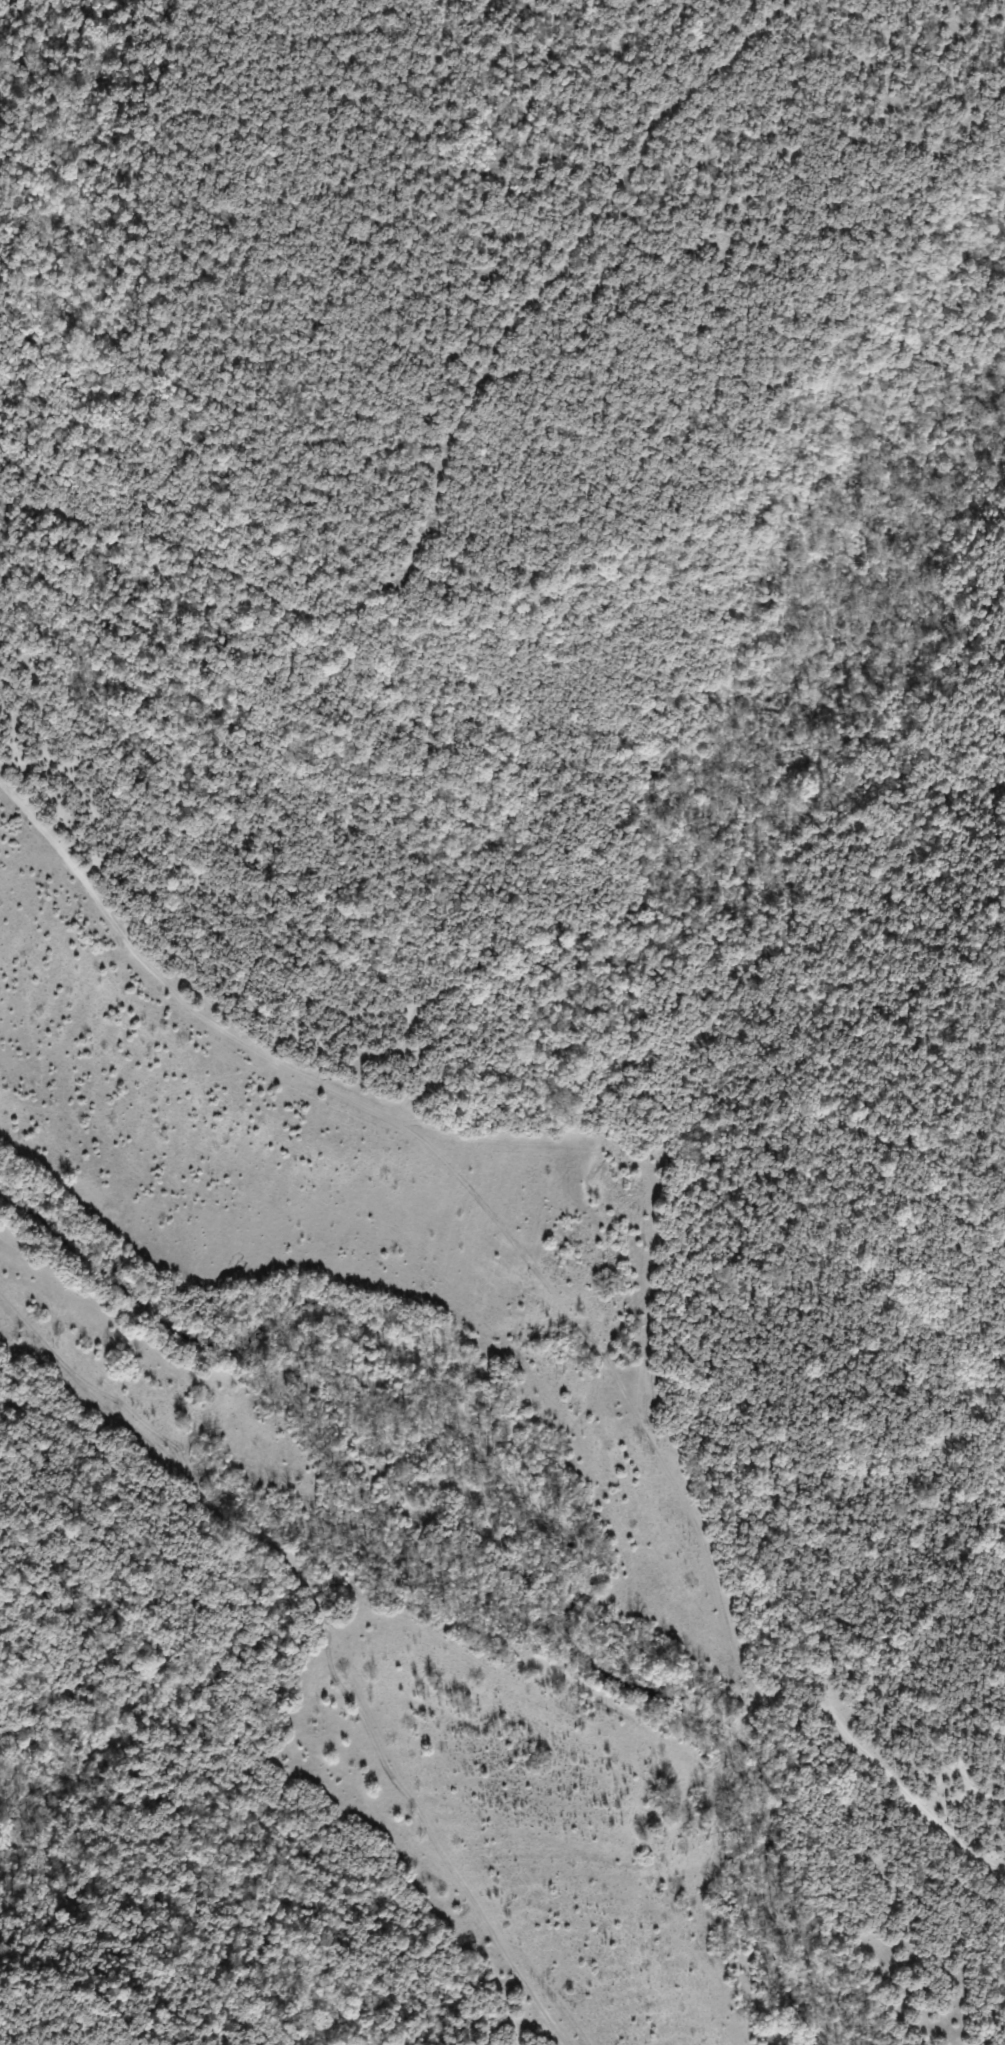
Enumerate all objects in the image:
road: (352, 1602)

